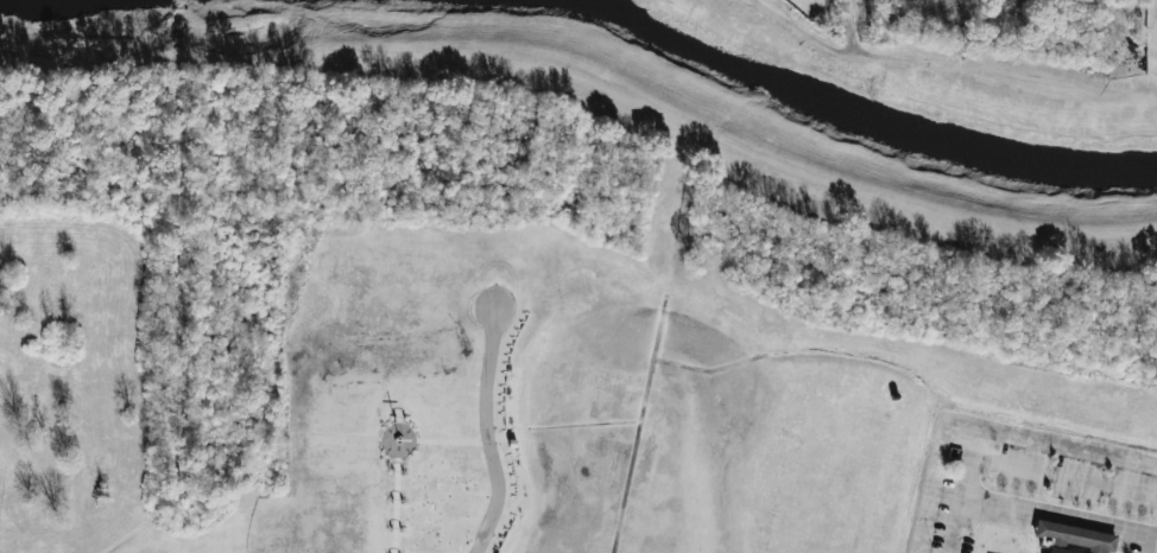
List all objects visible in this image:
street lamp: (1144, 27)
river: (865, 119)
park: (387, 400)
road: (399, 408)
road: (487, 432)
road: (386, 437)
road: (350, 438)
road: (450, 443)
building: (511, 443)
road: (1017, 465)
park: (1033, 477)
parking lot: (1033, 487)
road: (396, 502)
building: (388, 516)
road: (1061, 519)
building: (1073, 539)

